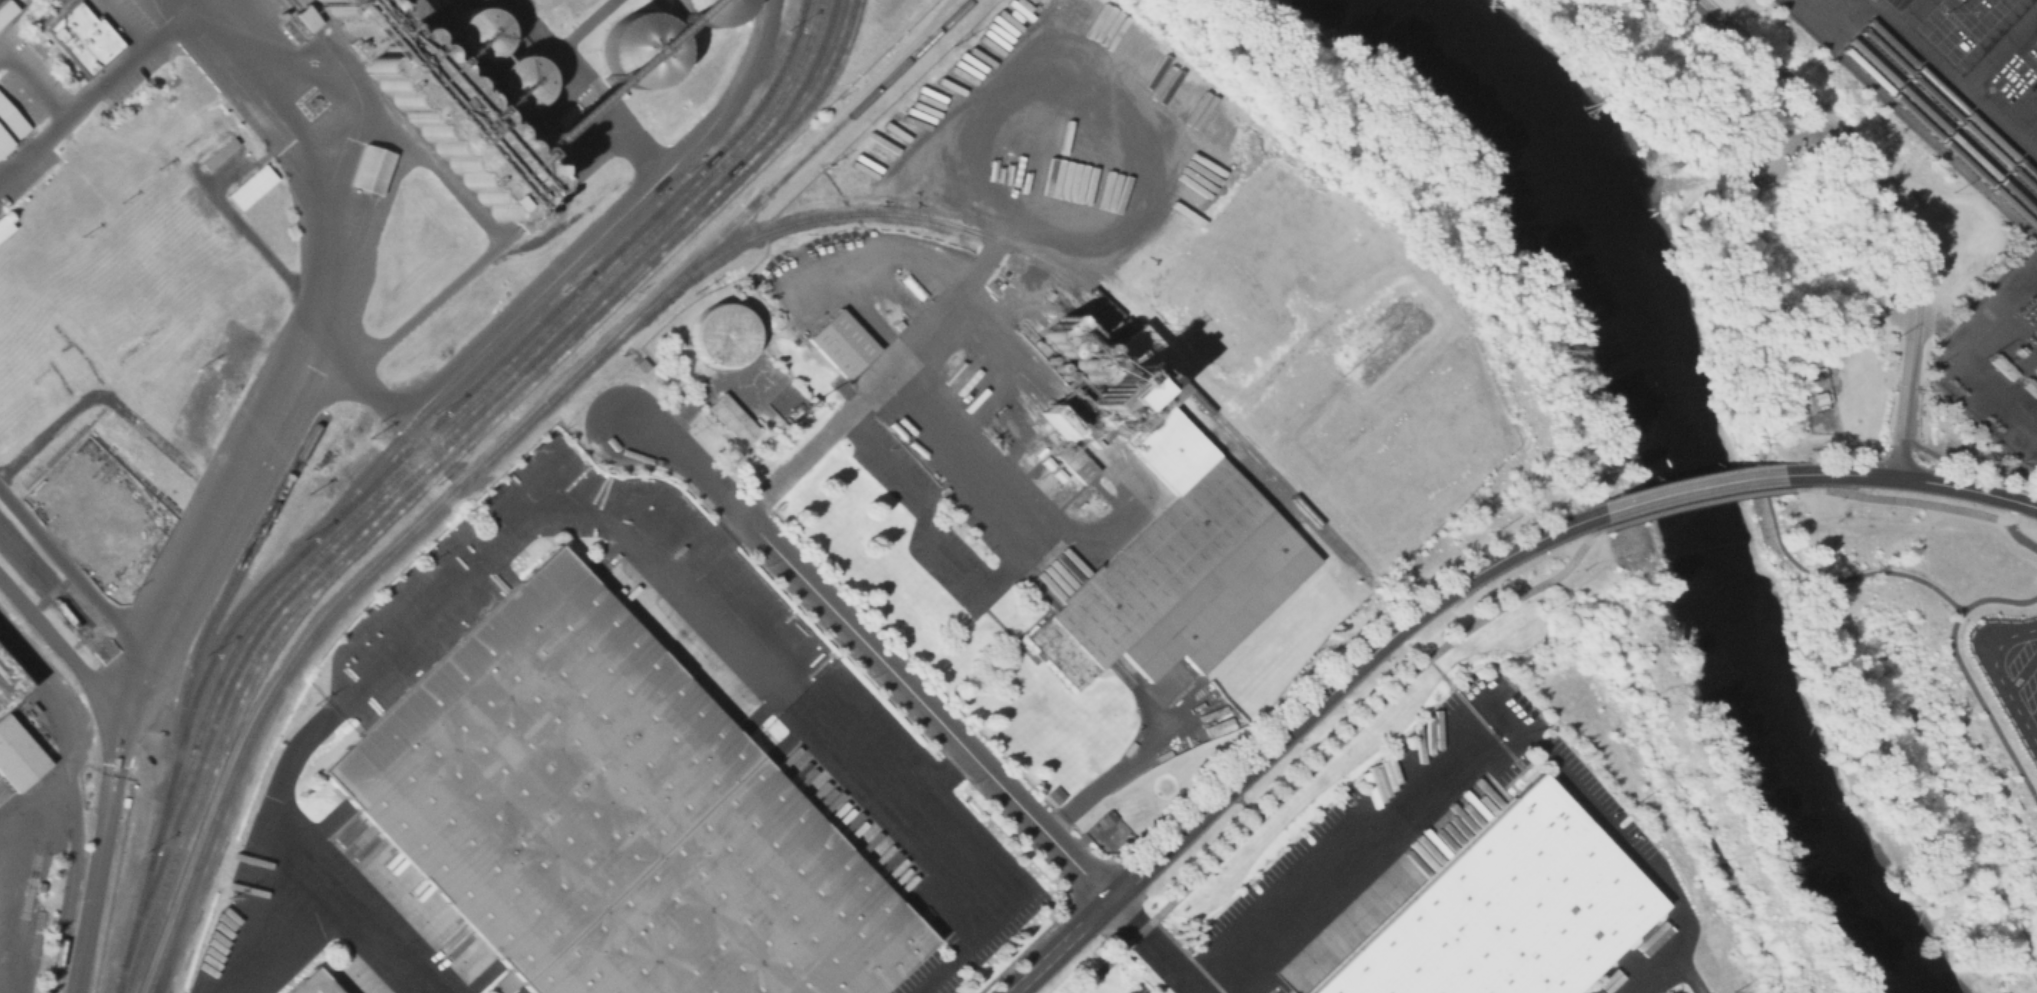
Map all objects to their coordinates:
building: (5, 9)
building: (710, 11)
silo: (710, 11)
road: (1908, 12)
building: (348, 14)
silo: (348, 14)
building: (305, 18)
building: (294, 26)
building: (478, 34)
silo: (478, 34)
building: (82, 38)
road: (1999, 45)
building: (640, 50)
silo: (640, 50)
building: (2035, 63)
road: (32, 74)
road: (1952, 77)
road: (101, 82)
building: (517, 83)
silo: (517, 83)
railway: (1940, 90)
railway: (1931, 97)
road: (724, 98)
railway: (1920, 108)
railway: (1913, 115)
building: (451, 122)
building: (8, 123)
road: (1782, 138)
building: (368, 170)
parking lot: (1769, 170)
road: (1711, 174)
road: (1897, 198)
railway: (698, 211)
railway: (886, 213)
building: (533, 215)
park: (1767, 215)
railway: (660, 217)
building: (4, 225)
road: (247, 233)
road: (574, 249)
railway: (1055, 269)
railway: (554, 287)
building: (915, 291)
railway: (555, 319)
railway: (579, 325)
building: (896, 326)
road: (1860, 332)
building: (720, 336)
building: (842, 346)
road: (1805, 350)
railway: (1154, 354)
power substation: (1999, 361)
railway: (1144, 363)
road: (294, 387)
road: (710, 390)
building: (1817, 397)
road: (119, 402)
railway: (463, 413)
building: (732, 421)
road: (937, 431)
railway: (411, 448)
railway: (495, 452)
railway: (1229, 452)
railway: (425, 463)
railway: (440, 463)
railway: (1266, 472)
road: (1848, 474)
road: (1955, 485)
road: (1700, 486)
road: (1698, 500)
road: (1904, 501)
road: (2024, 501)
road: (2010, 510)
road: (927, 536)
road: (2020, 537)
building: (1166, 540)
road: (709, 546)
road: (655, 561)
road: (73, 571)
road: (1481, 571)
road: (1822, 578)
railway: (52, 583)
railway: (47, 594)
railway: (221, 597)
road: (1999, 599)
road: (63, 644)
road: (875, 653)
road: (2021, 669)
road: (1998, 677)
road: (1459, 694)
road: (1984, 707)
road: (1493, 724)
road: (76, 727)
road: (1277, 728)
road: (1289, 741)
road: (1332, 750)
building: (14, 760)
building: (121, 765)
road: (1112, 769)
road: (1236, 777)
road: (936, 781)
railway: (74, 803)
road: (1246, 807)
building: (1106, 817)
building: (603, 818)
road: (1153, 859)
road: (325, 874)
road: (95, 879)
building: (1502, 911)
road: (1152, 946)
road: (1061, 947)
building: (306, 985)
road: (3, 987)

